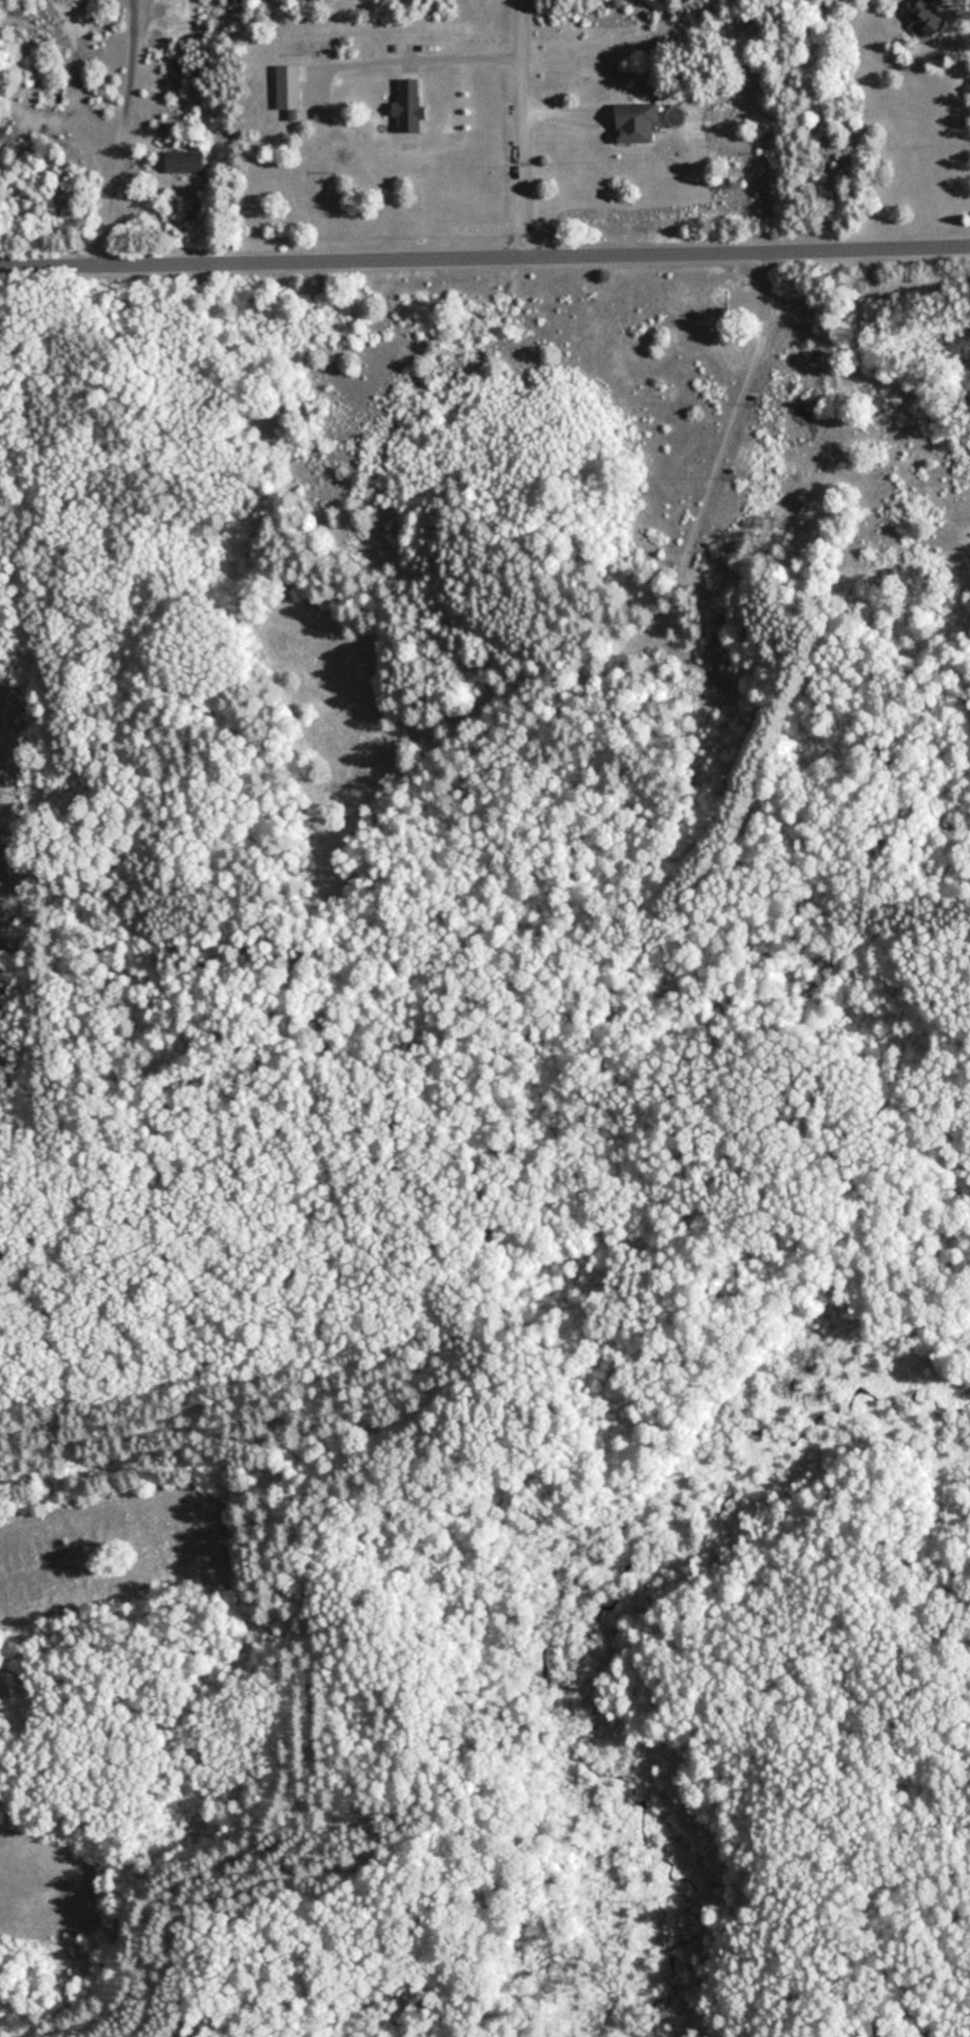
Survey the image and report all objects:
building: (928, 17)
building: (637, 124)
road: (515, 129)
road: (103, 134)
building: (185, 153)
building: (141, 161)
road: (485, 259)
park: (486, 1143)

